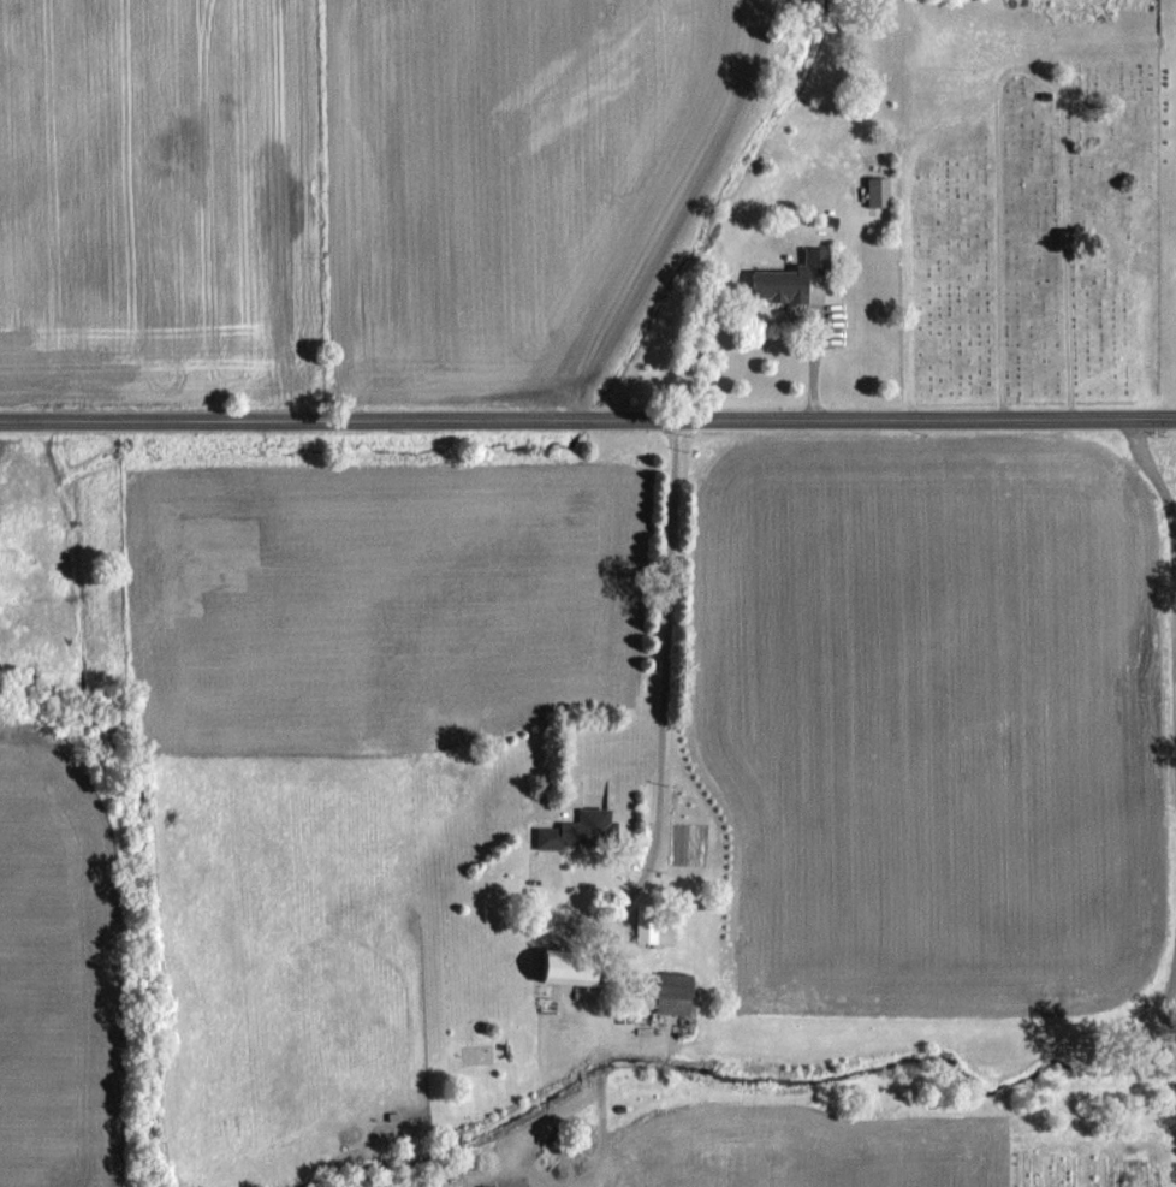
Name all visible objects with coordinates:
building: (880, 191)
building: (794, 278)
road: (587, 417)
road: (654, 692)
road: (1171, 773)
building: (584, 830)
building: (649, 918)
building: (578, 966)
building: (677, 992)

